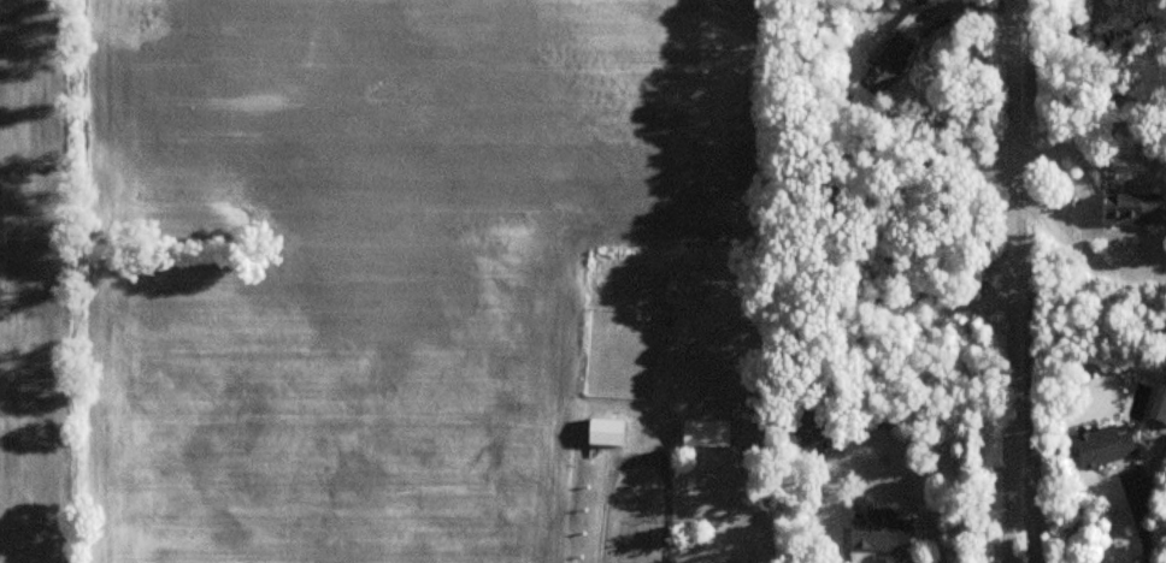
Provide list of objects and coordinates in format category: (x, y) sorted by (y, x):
building: (887, 65)
building: (1132, 211)
road: (1013, 281)
building: (811, 426)
building: (605, 433)
building: (705, 433)
building: (1102, 448)
road: (636, 462)
road: (1142, 521)
building: (878, 532)

